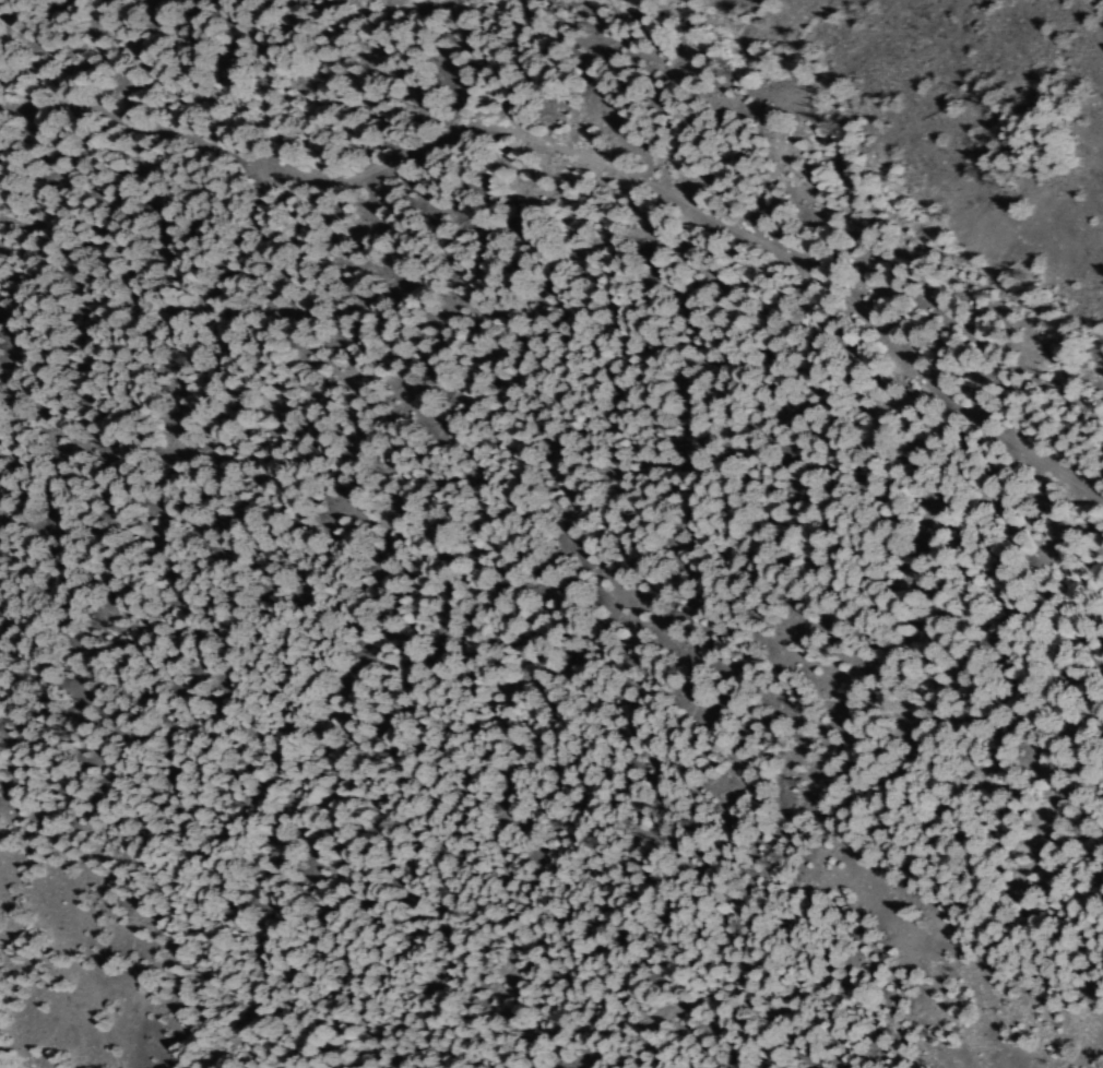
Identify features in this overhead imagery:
road: (593, 137)

